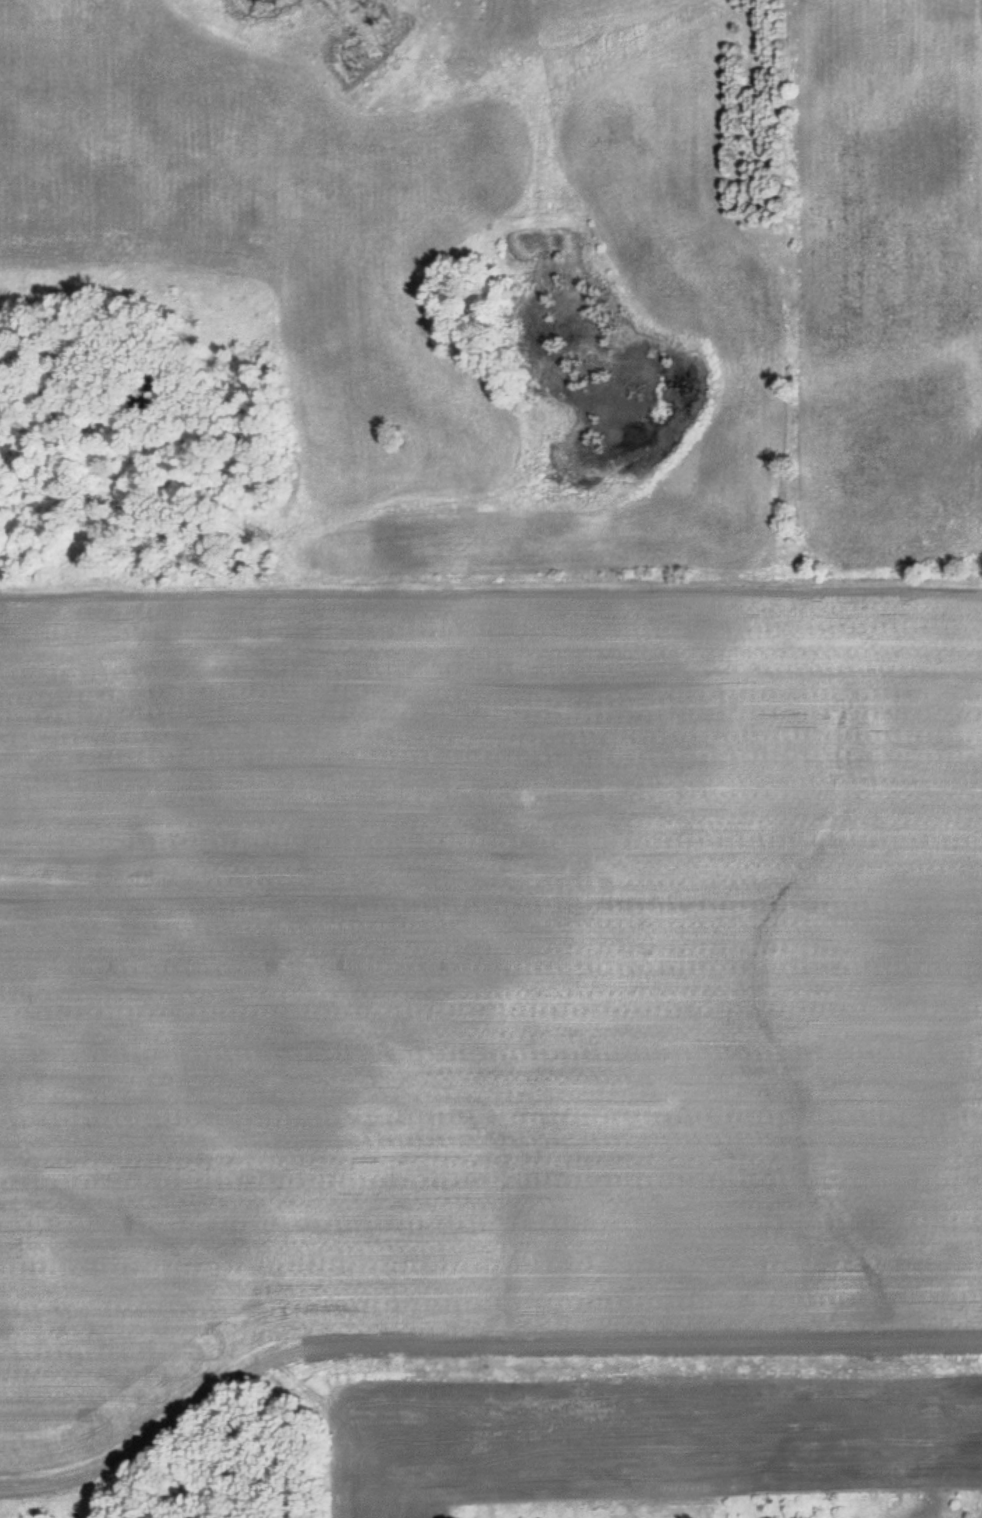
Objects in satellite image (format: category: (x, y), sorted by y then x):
road: (472, 1346)

